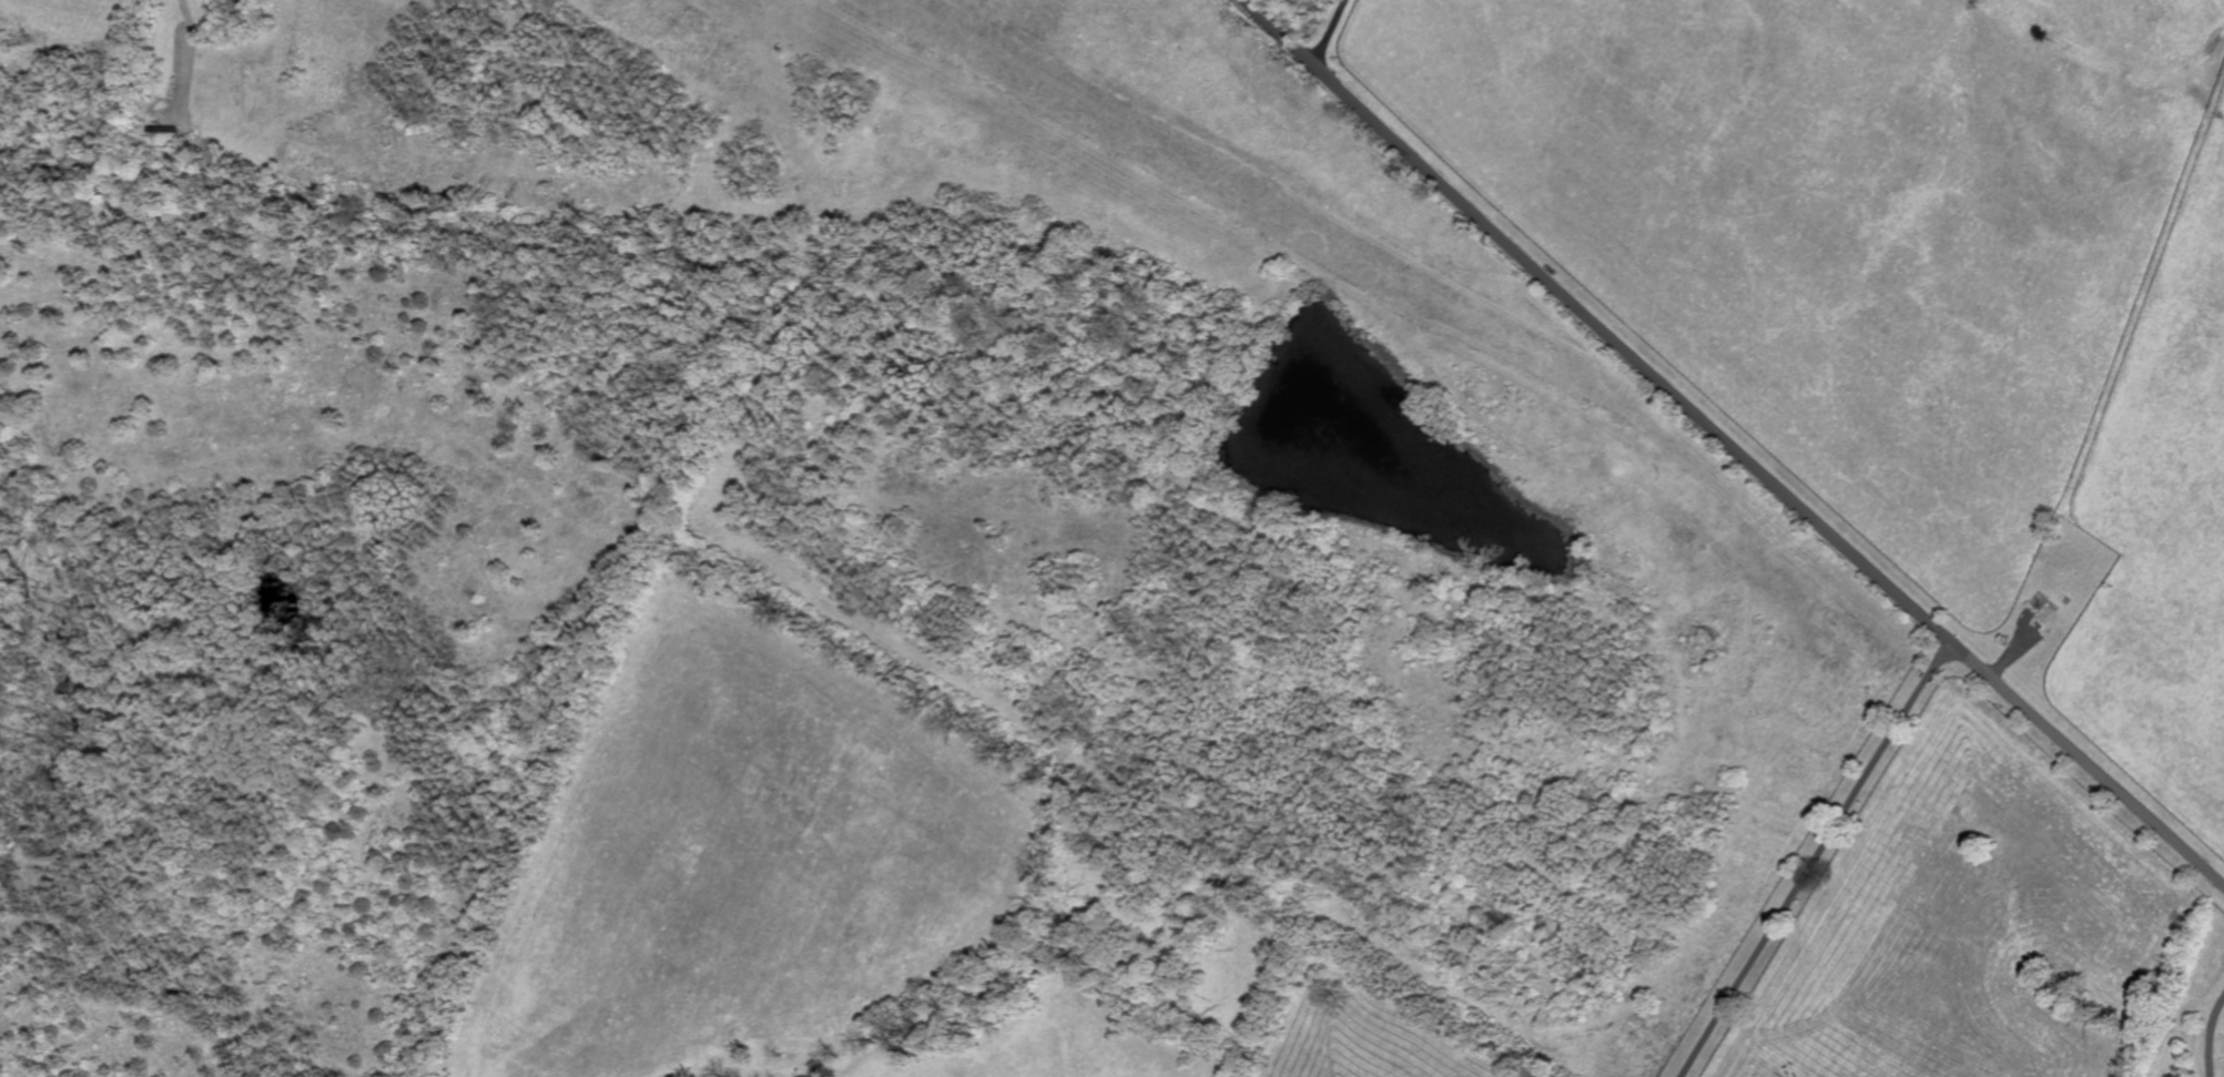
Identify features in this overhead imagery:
road: (1331, 31)
airport runway: (1249, 194)
road: (1734, 444)
road: (1816, 857)
road: (2213, 1038)

